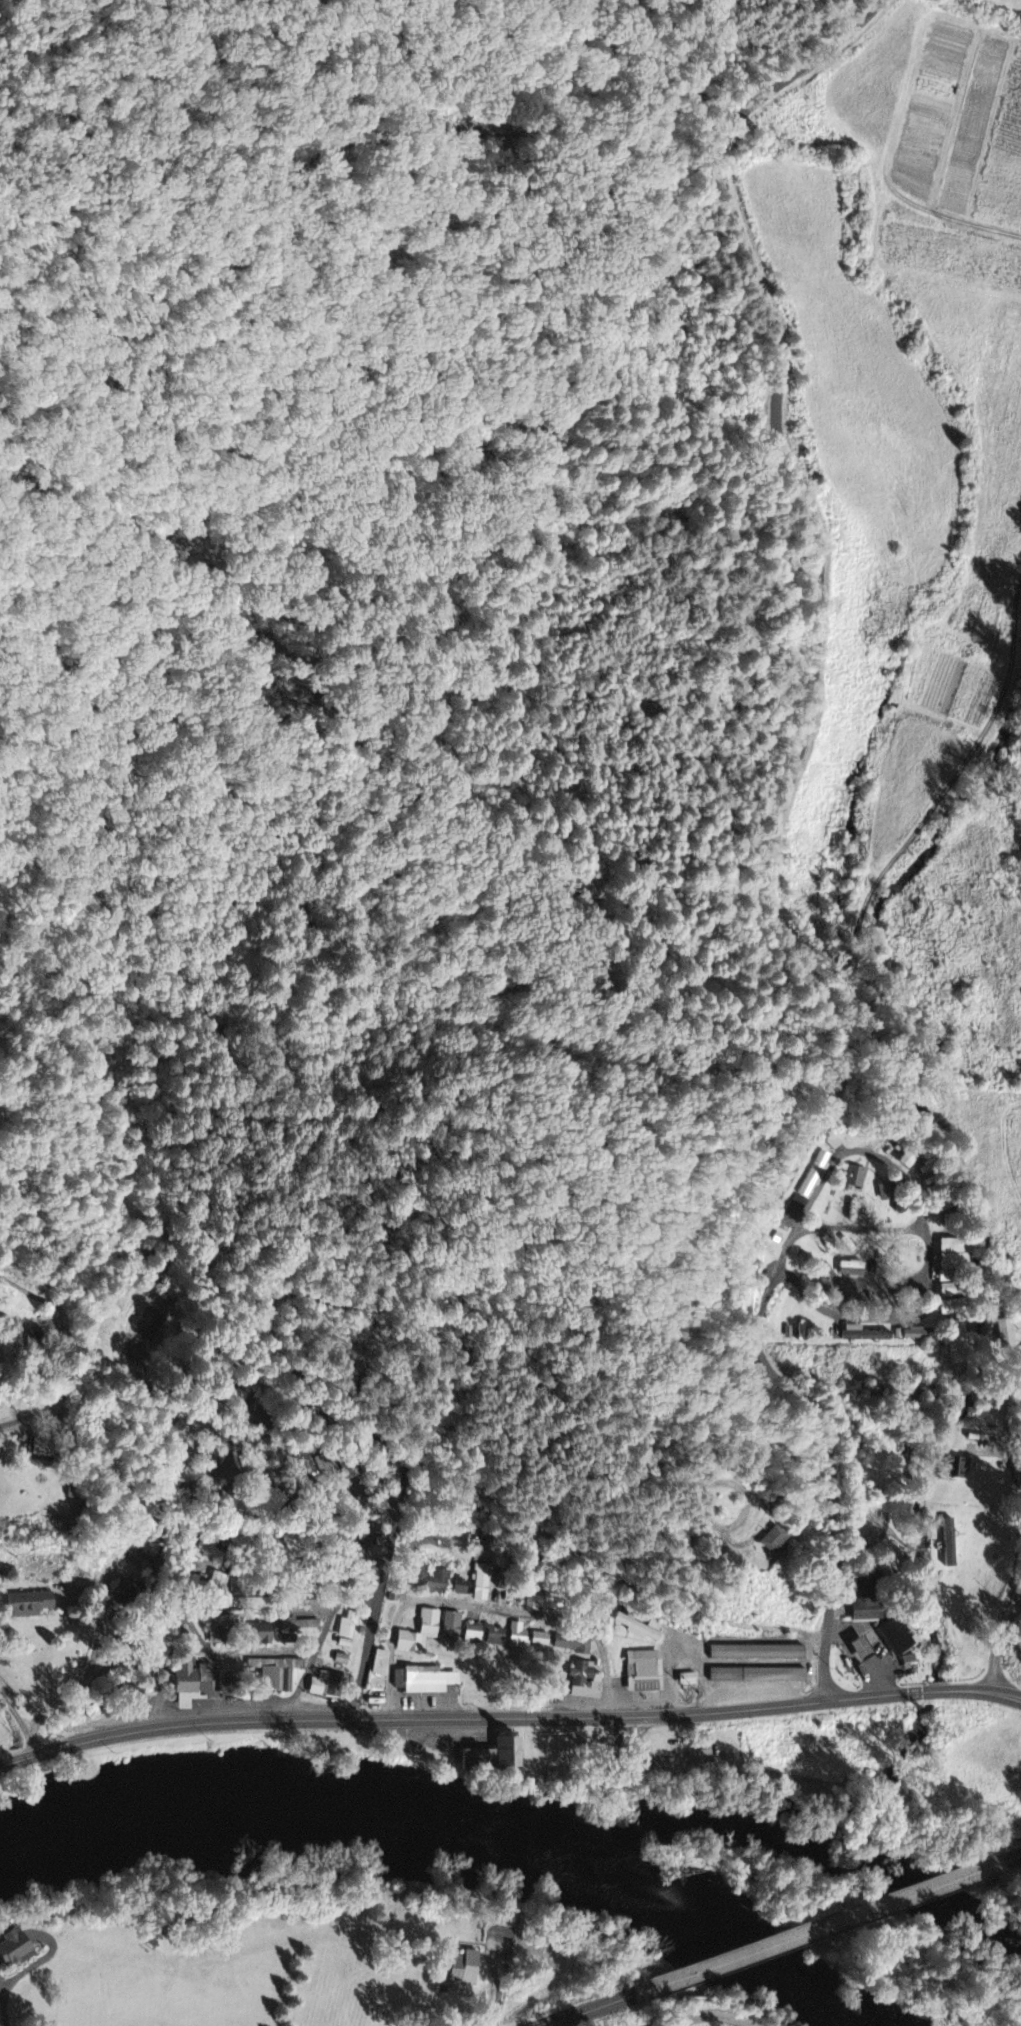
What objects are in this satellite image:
road: (774, 831)
building: (908, 1160)
building: (854, 1178)
building: (810, 1183)
building: (884, 1193)
building: (849, 1269)
building: (945, 1291)
building: (949, 1307)
building: (151, 1325)
building: (963, 1329)
building: (861, 1335)
building: (908, 1335)
building: (915, 1391)
road: (9, 1420)
building: (180, 1433)
building: (47, 1448)
road: (407, 1461)
building: (951, 1469)
road: (303, 1481)
road: (156, 1507)
building: (773, 1541)
building: (947, 1544)
road: (185, 1558)
road: (285, 1561)
building: (483, 1582)
building: (438, 1584)
building: (462, 1588)
building: (126, 1593)
building: (542, 1604)
road: (489, 1605)
building: (34, 1606)
building: (455, 1626)
building: (302, 1629)
building: (640, 1629)
building: (349, 1632)
building: (423, 1634)
building: (476, 1634)
building: (264, 1635)
building: (221, 1636)
building: (499, 1637)
building: (521, 1638)
building: (893, 1638)
road: (320, 1643)
building: (542, 1643)
building: (572, 1645)
road: (998, 1645)
building: (856, 1649)
building: (755, 1654)
building: (382, 1664)
building: (642, 1672)
building: (283, 1676)
building: (755, 1676)
building: (427, 1682)
building: (583, 1682)
building: (190, 1687)
building: (331, 1687)
road: (509, 1718)
road: (19, 1720)
building: (498, 1757)
river: (284, 1808)
road: (1011, 1858)
road: (818, 1928)
river: (719, 1939)
building: (20, 1950)
building: (460, 1969)
road: (6, 2007)
road: (589, 2010)
road: (712, 2015)

